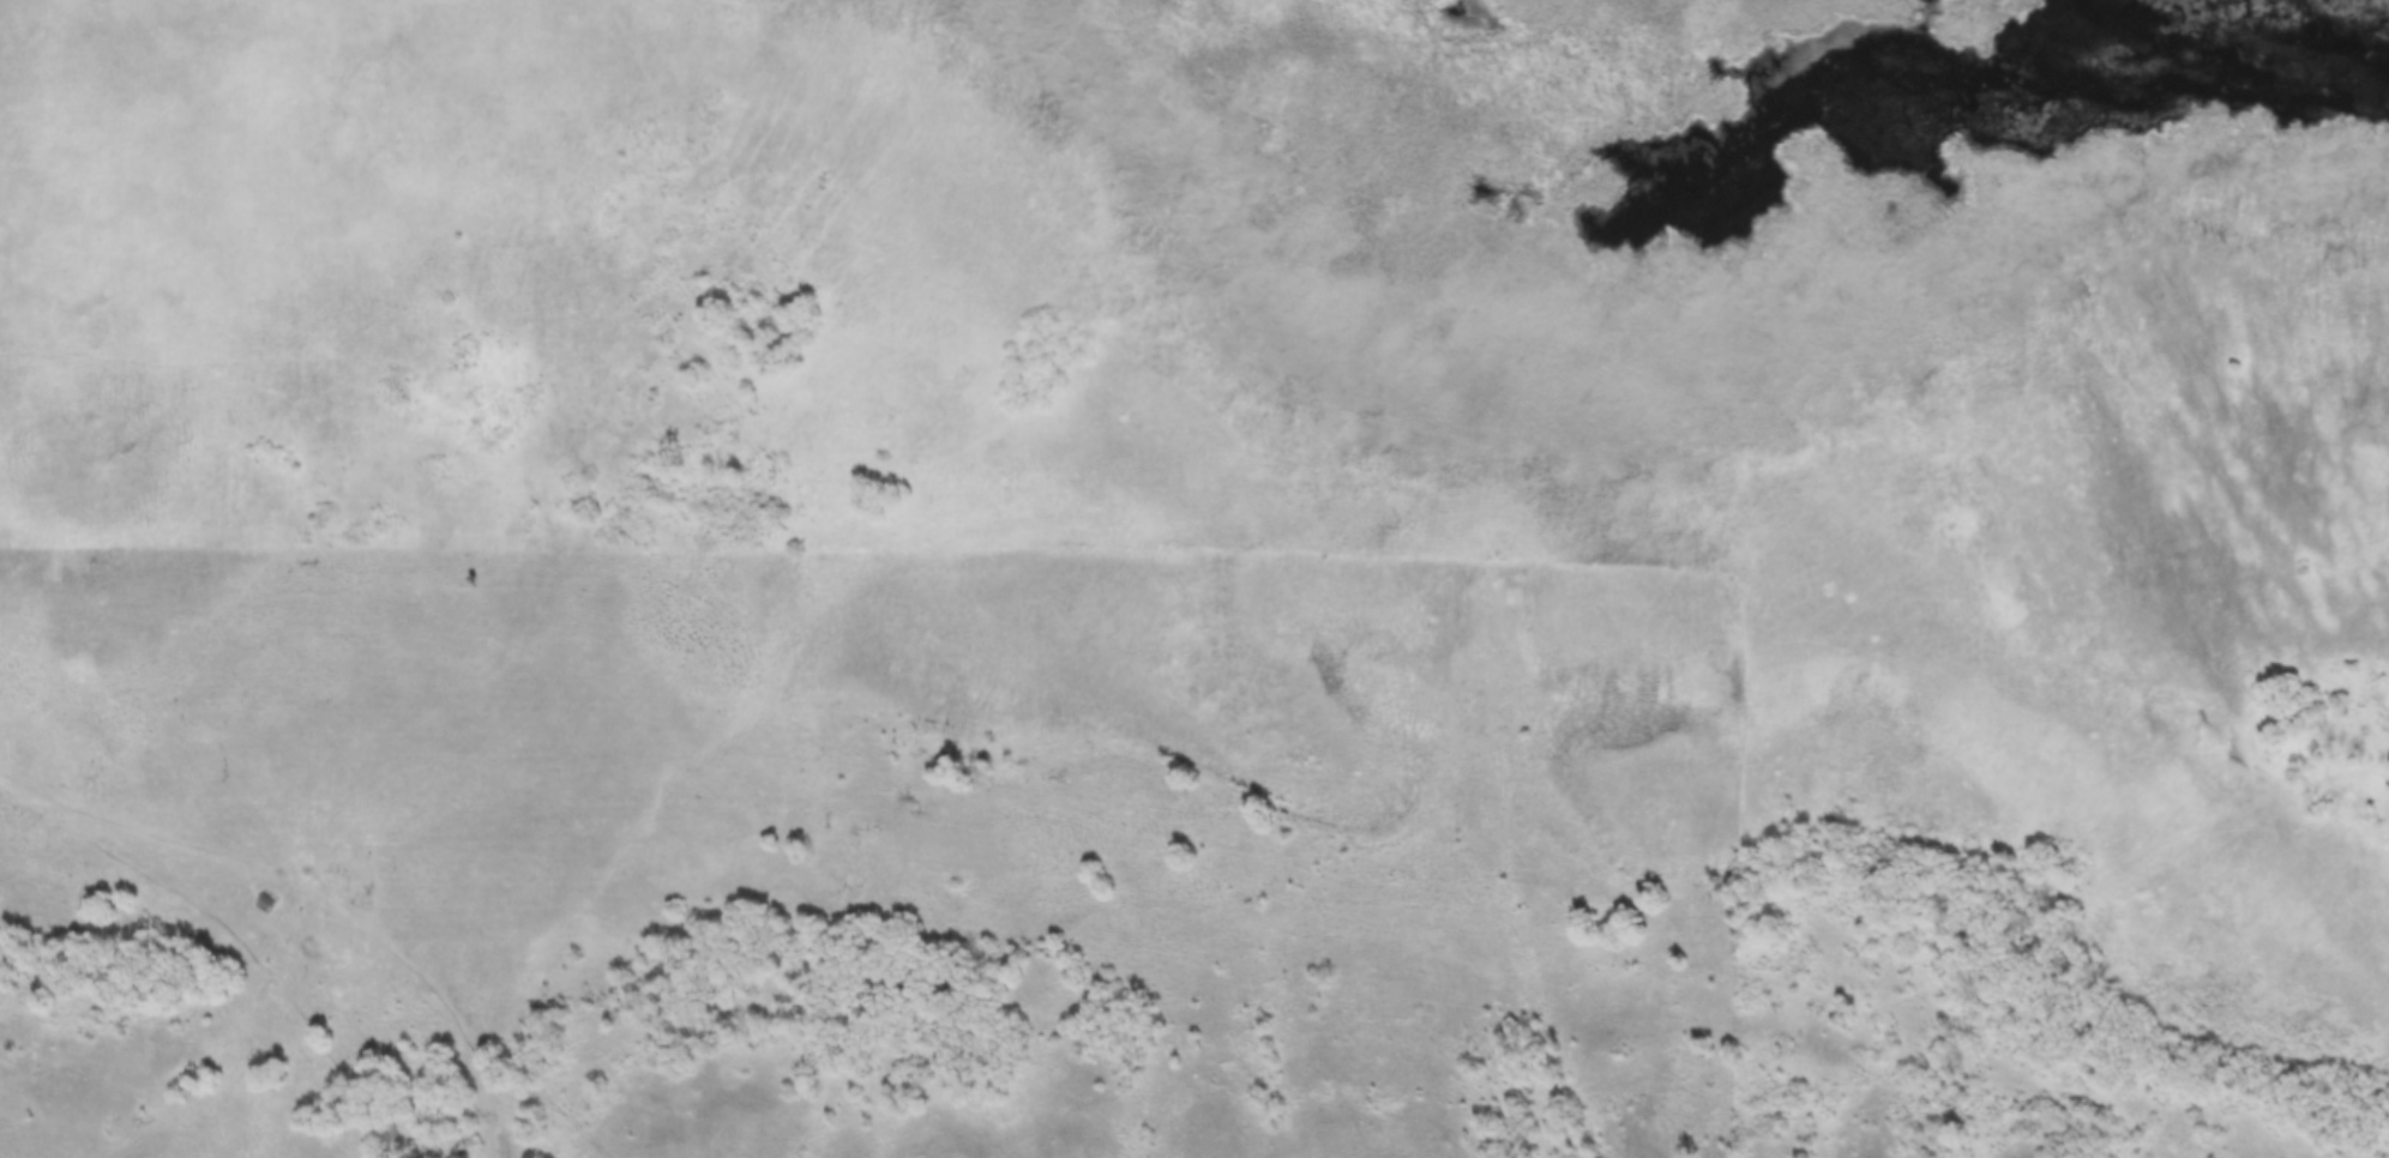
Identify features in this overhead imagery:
building: (264, 905)
road: (302, 910)
quarry: (1609, 1142)

